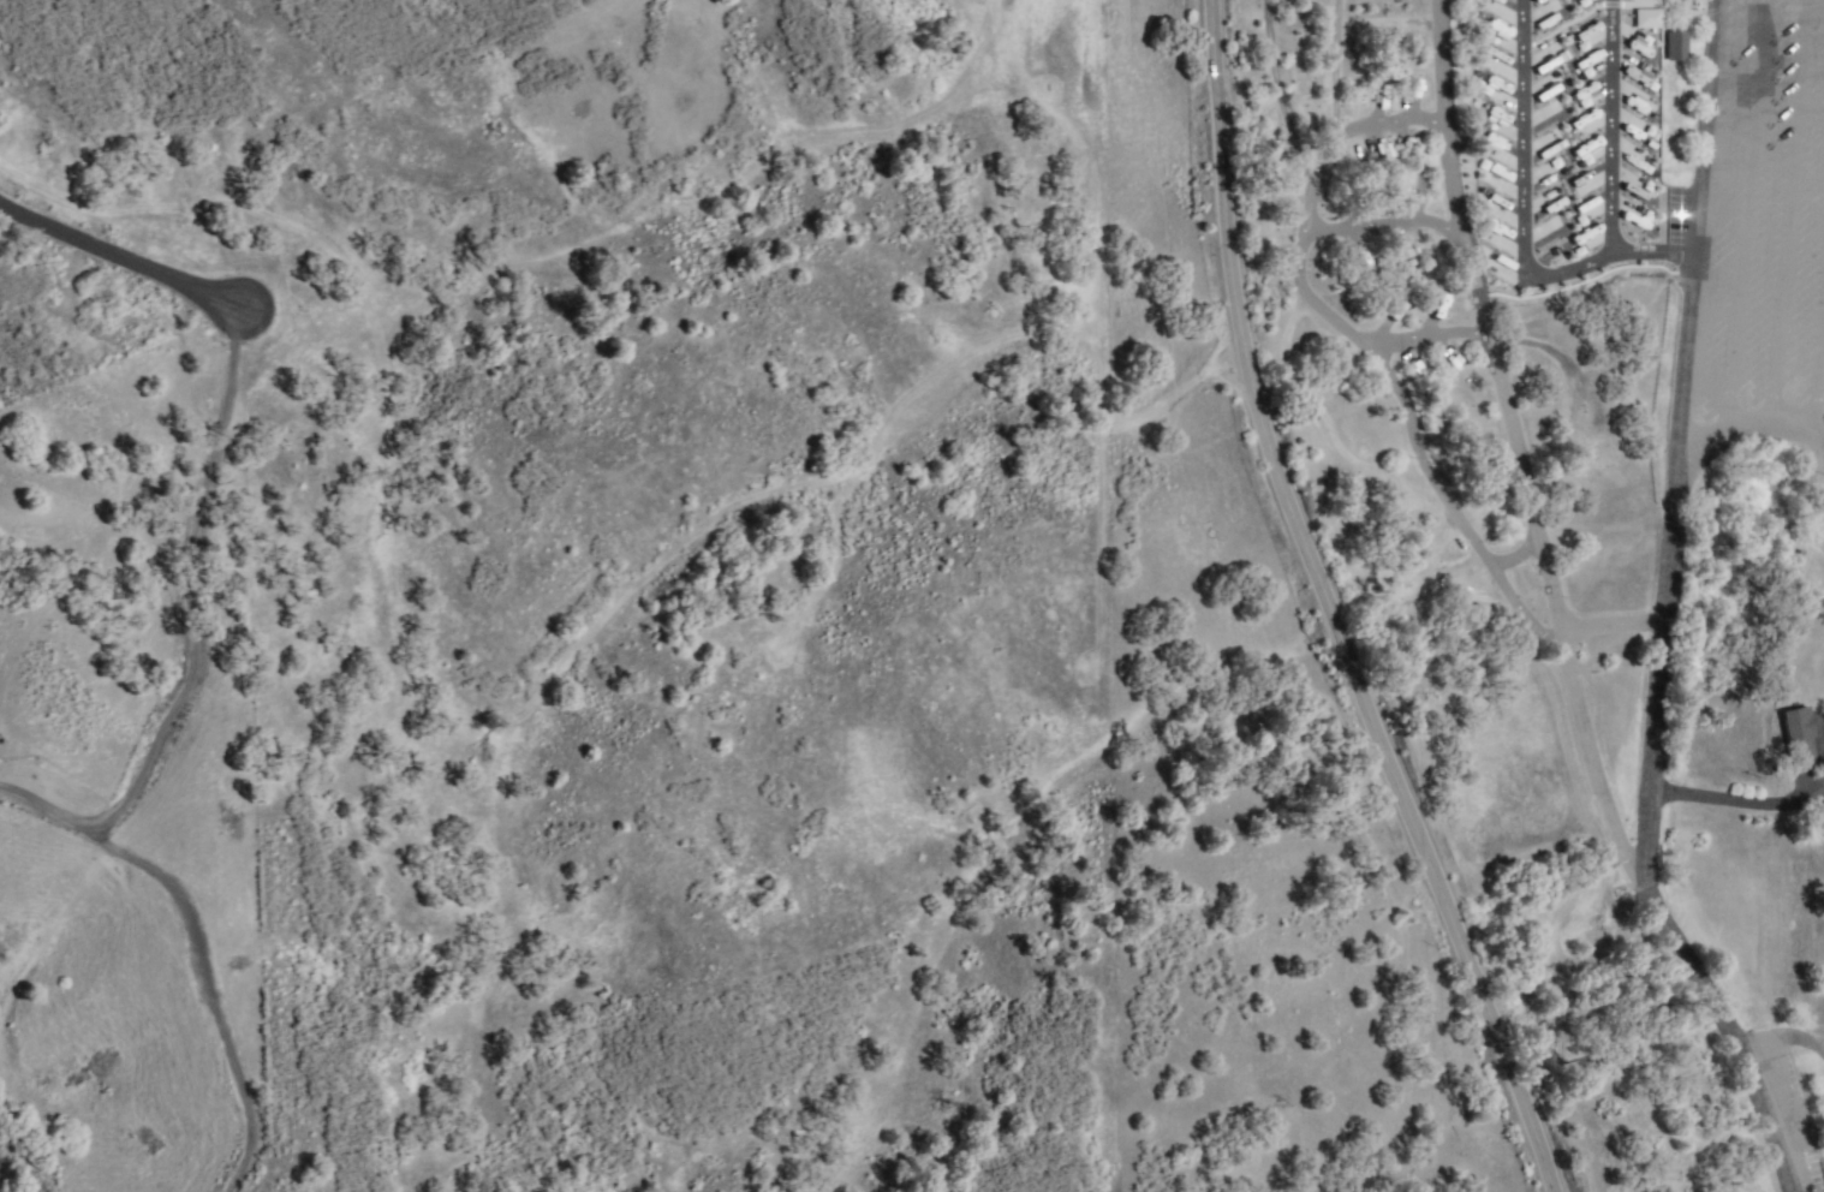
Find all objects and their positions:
building: (1649, 18)
building: (1494, 61)
building: (1491, 87)
building: (1639, 107)
building: (1584, 184)
building: (1633, 217)
road: (1695, 225)
road: (118, 261)
building: (1450, 357)
road: (1750, 427)
road: (1335, 606)
road: (1560, 606)
road: (184, 630)
road: (1656, 660)
building: (1801, 732)
road: (207, 989)
road: (1787, 1075)

